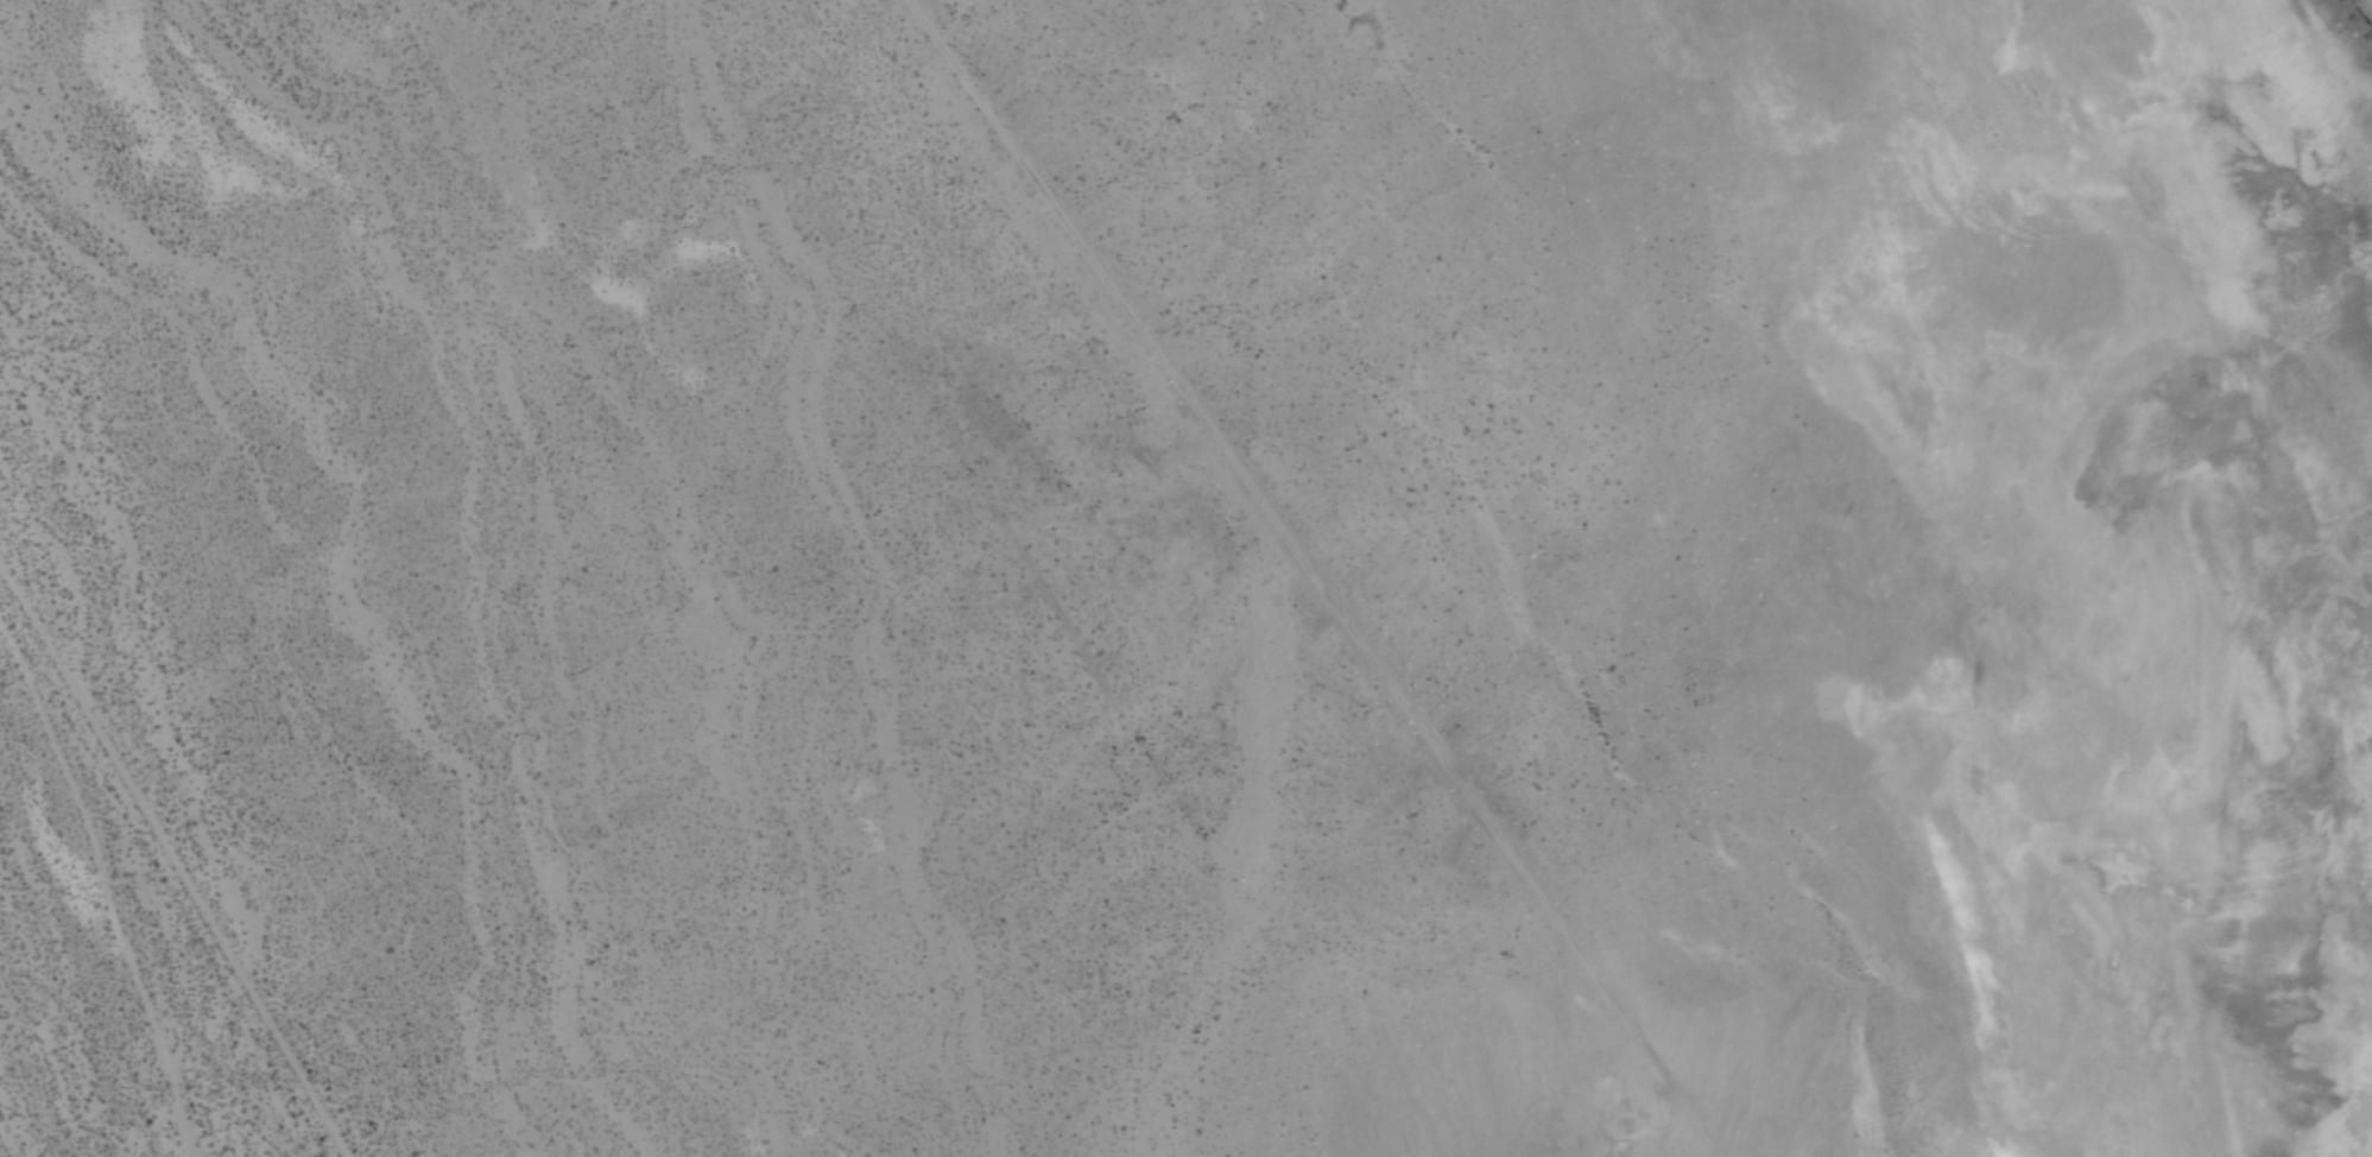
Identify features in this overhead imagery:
road: (1304, 578)
road: (99, 894)

